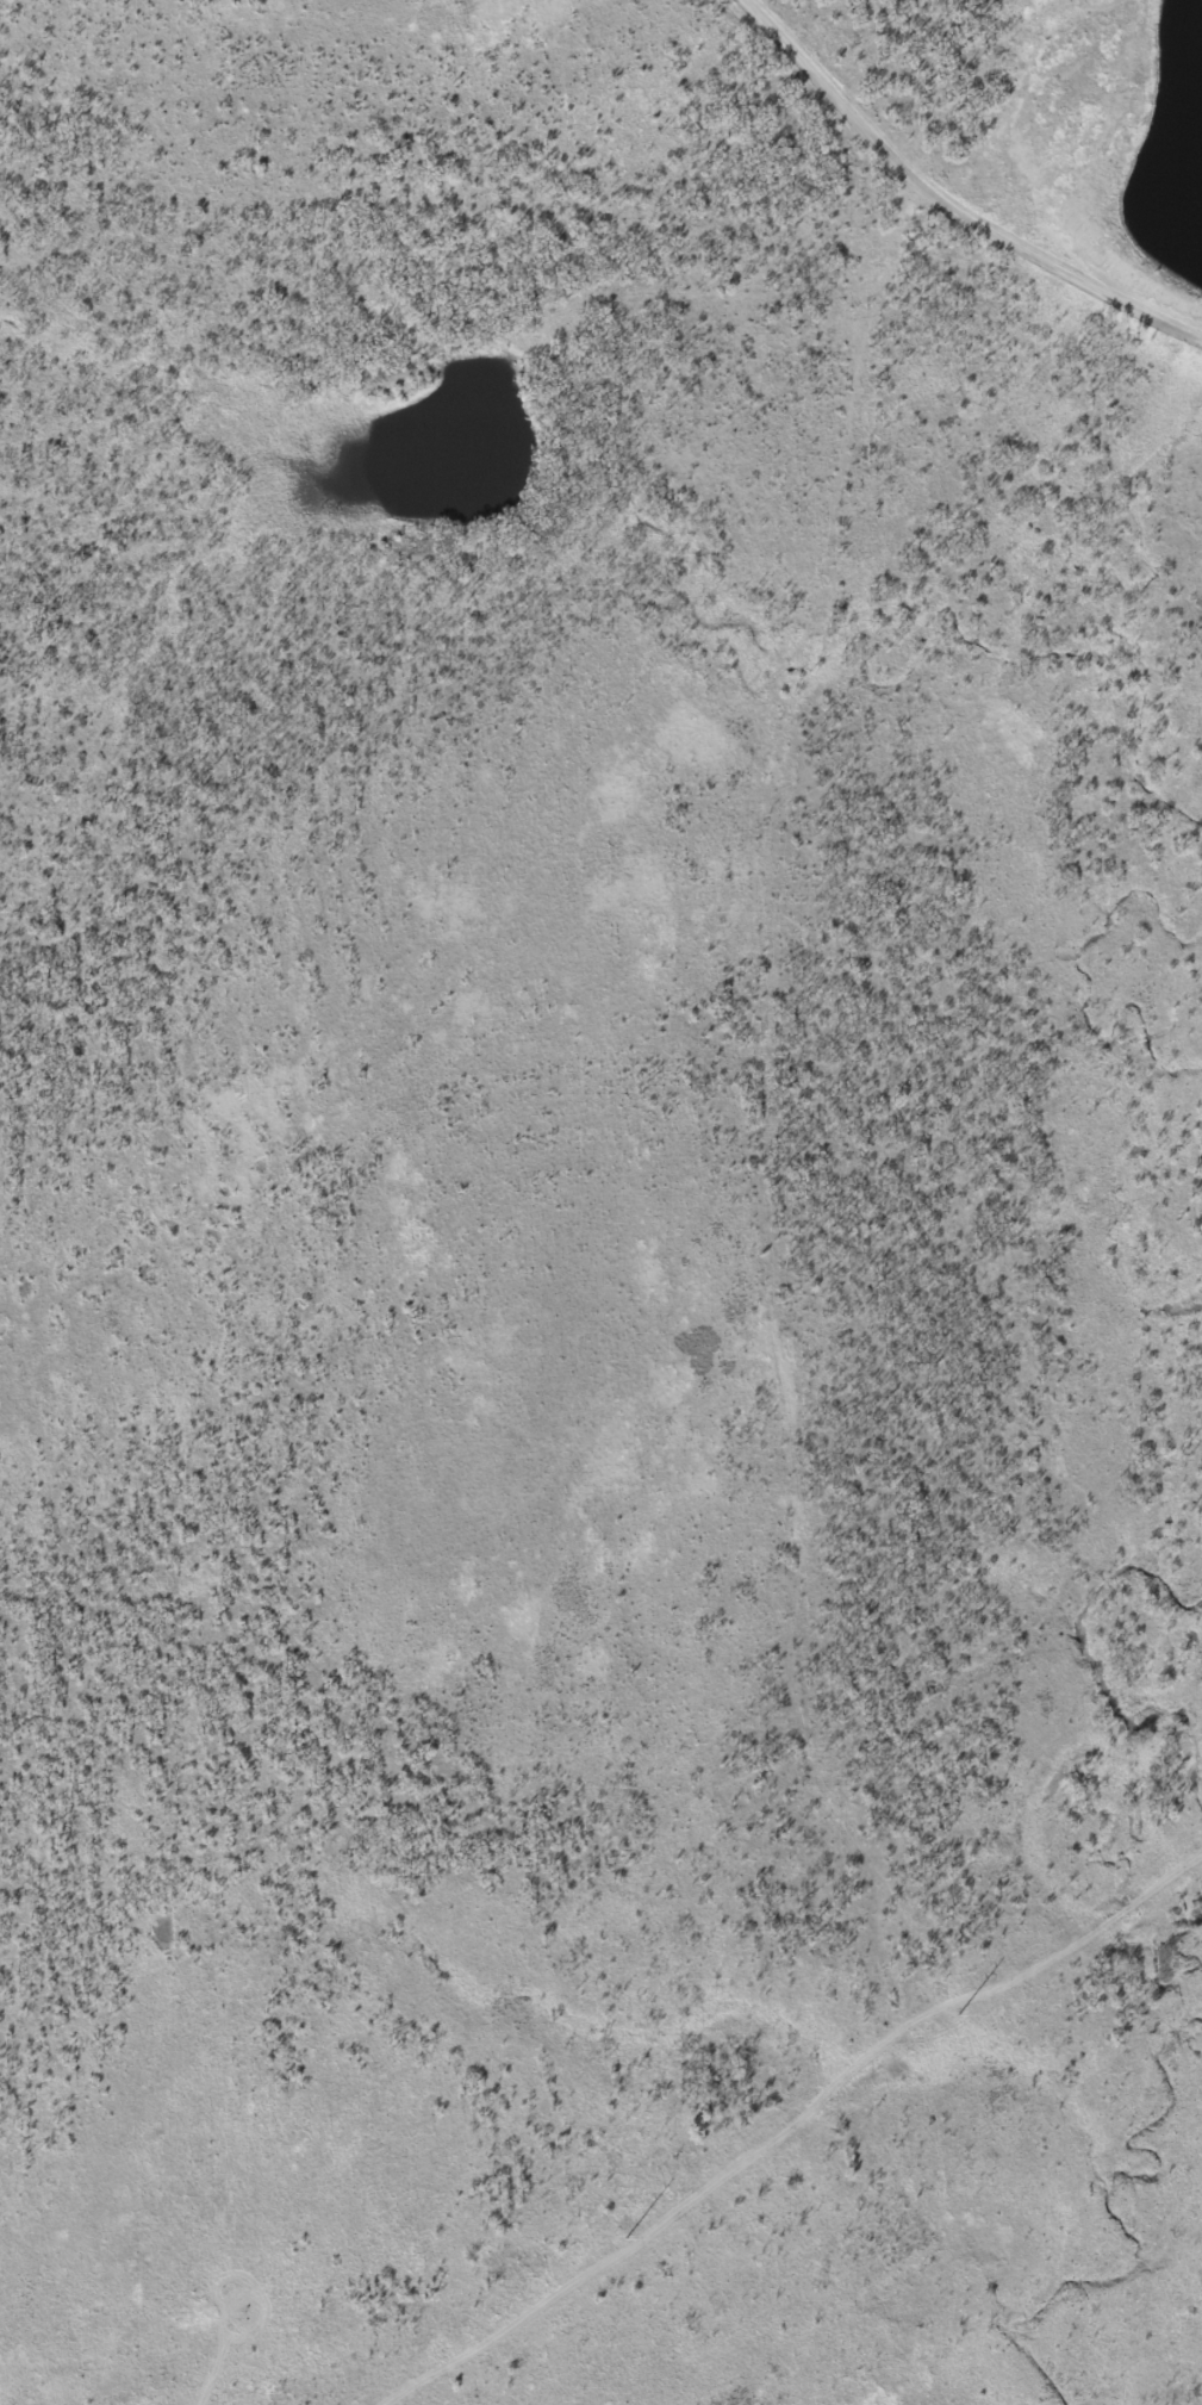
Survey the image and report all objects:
road: (892, 98)
road: (891, 229)

